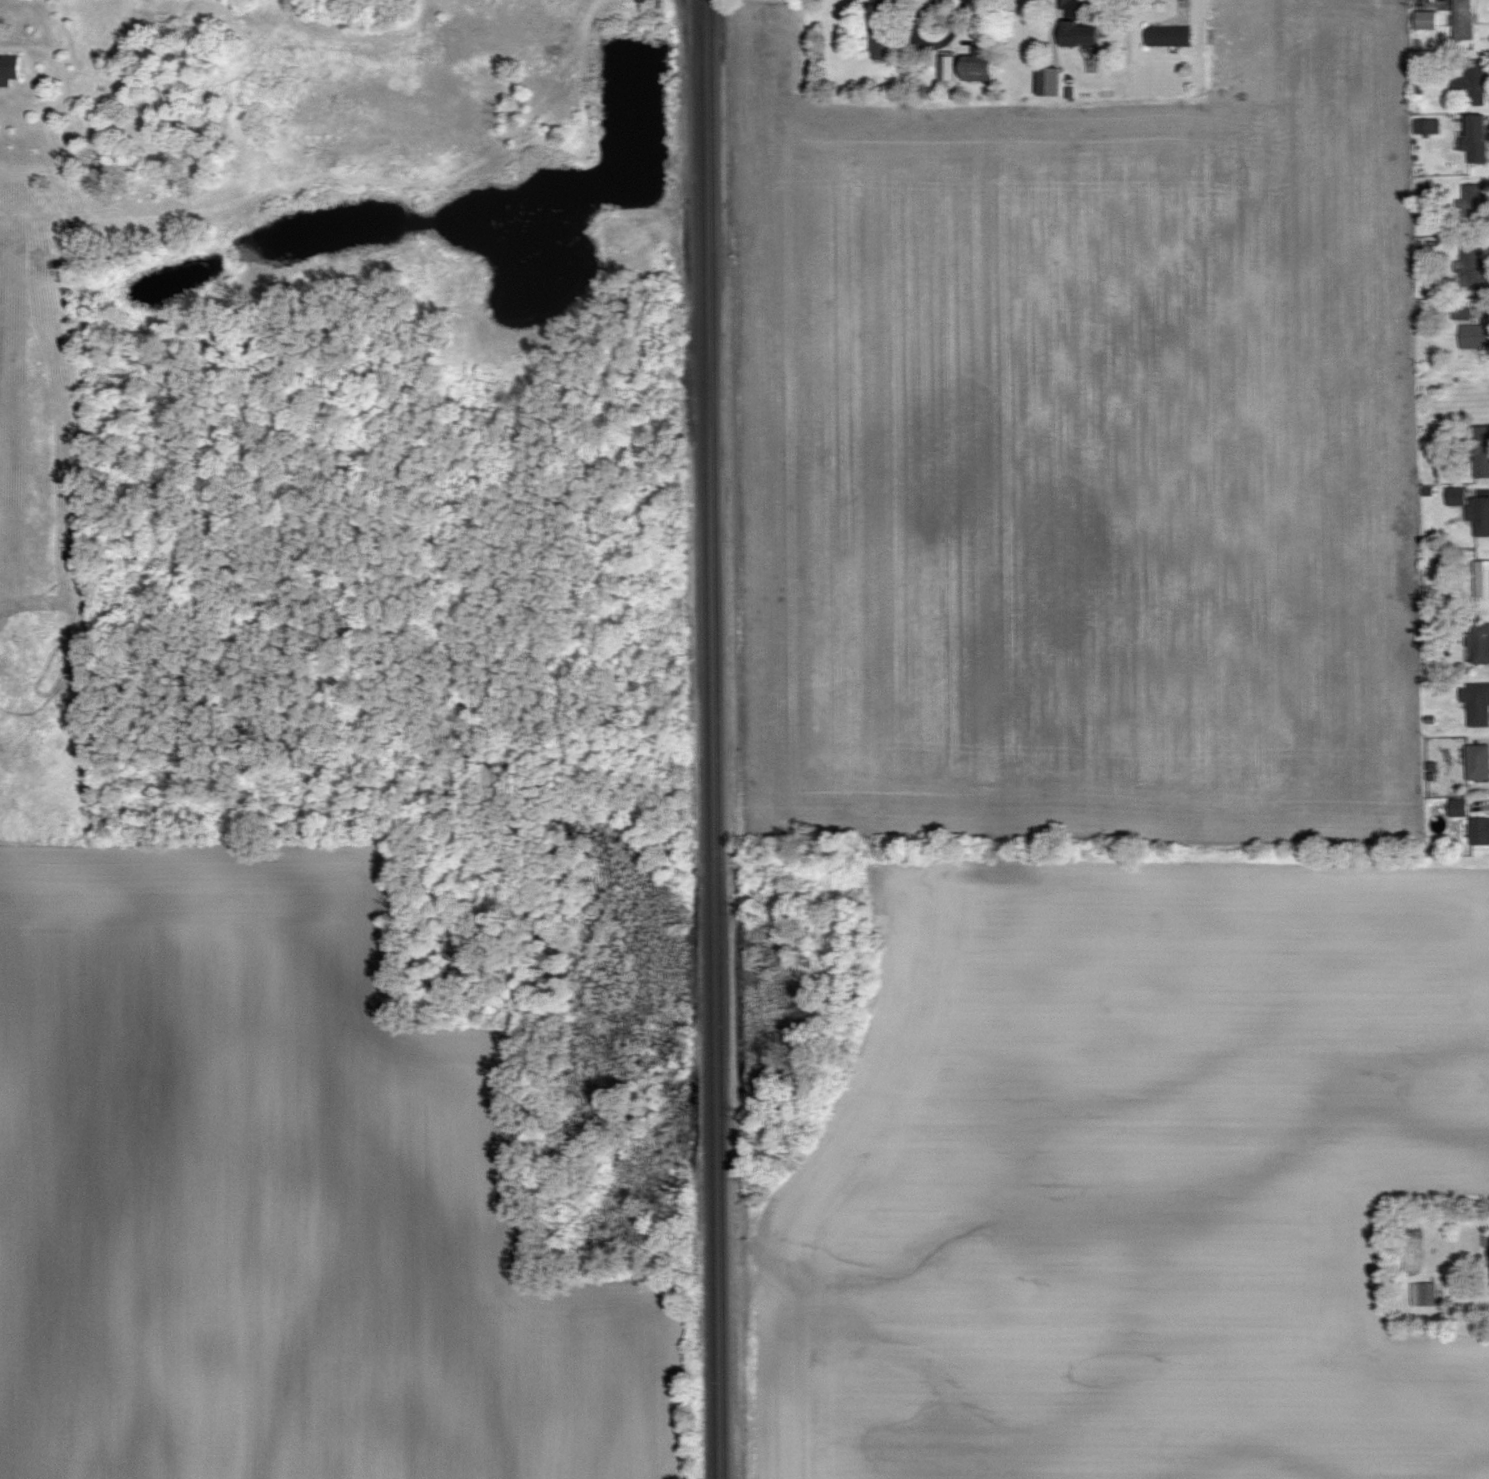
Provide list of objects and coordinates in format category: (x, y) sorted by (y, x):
building: (1463, 19)
building: (1425, 20)
building: (881, 31)
building: (1077, 34)
building: (1167, 36)
building: (947, 67)
building: (9, 69)
building: (979, 69)
building: (1047, 81)
building: (1472, 82)
building: (1426, 126)
building: (540, 130)
building: (1475, 139)
building: (1424, 189)
building: (1474, 204)
building: (76, 241)
building: (1473, 268)
building: (1474, 336)
building: (1480, 451)
building: (1479, 515)
building: (1482, 580)
building: (1480, 643)
building: (1477, 705)
railway: (707, 739)
railway: (717, 739)
building: (1477, 762)
building: (1459, 808)
building: (1479, 832)
building: (1424, 1294)

